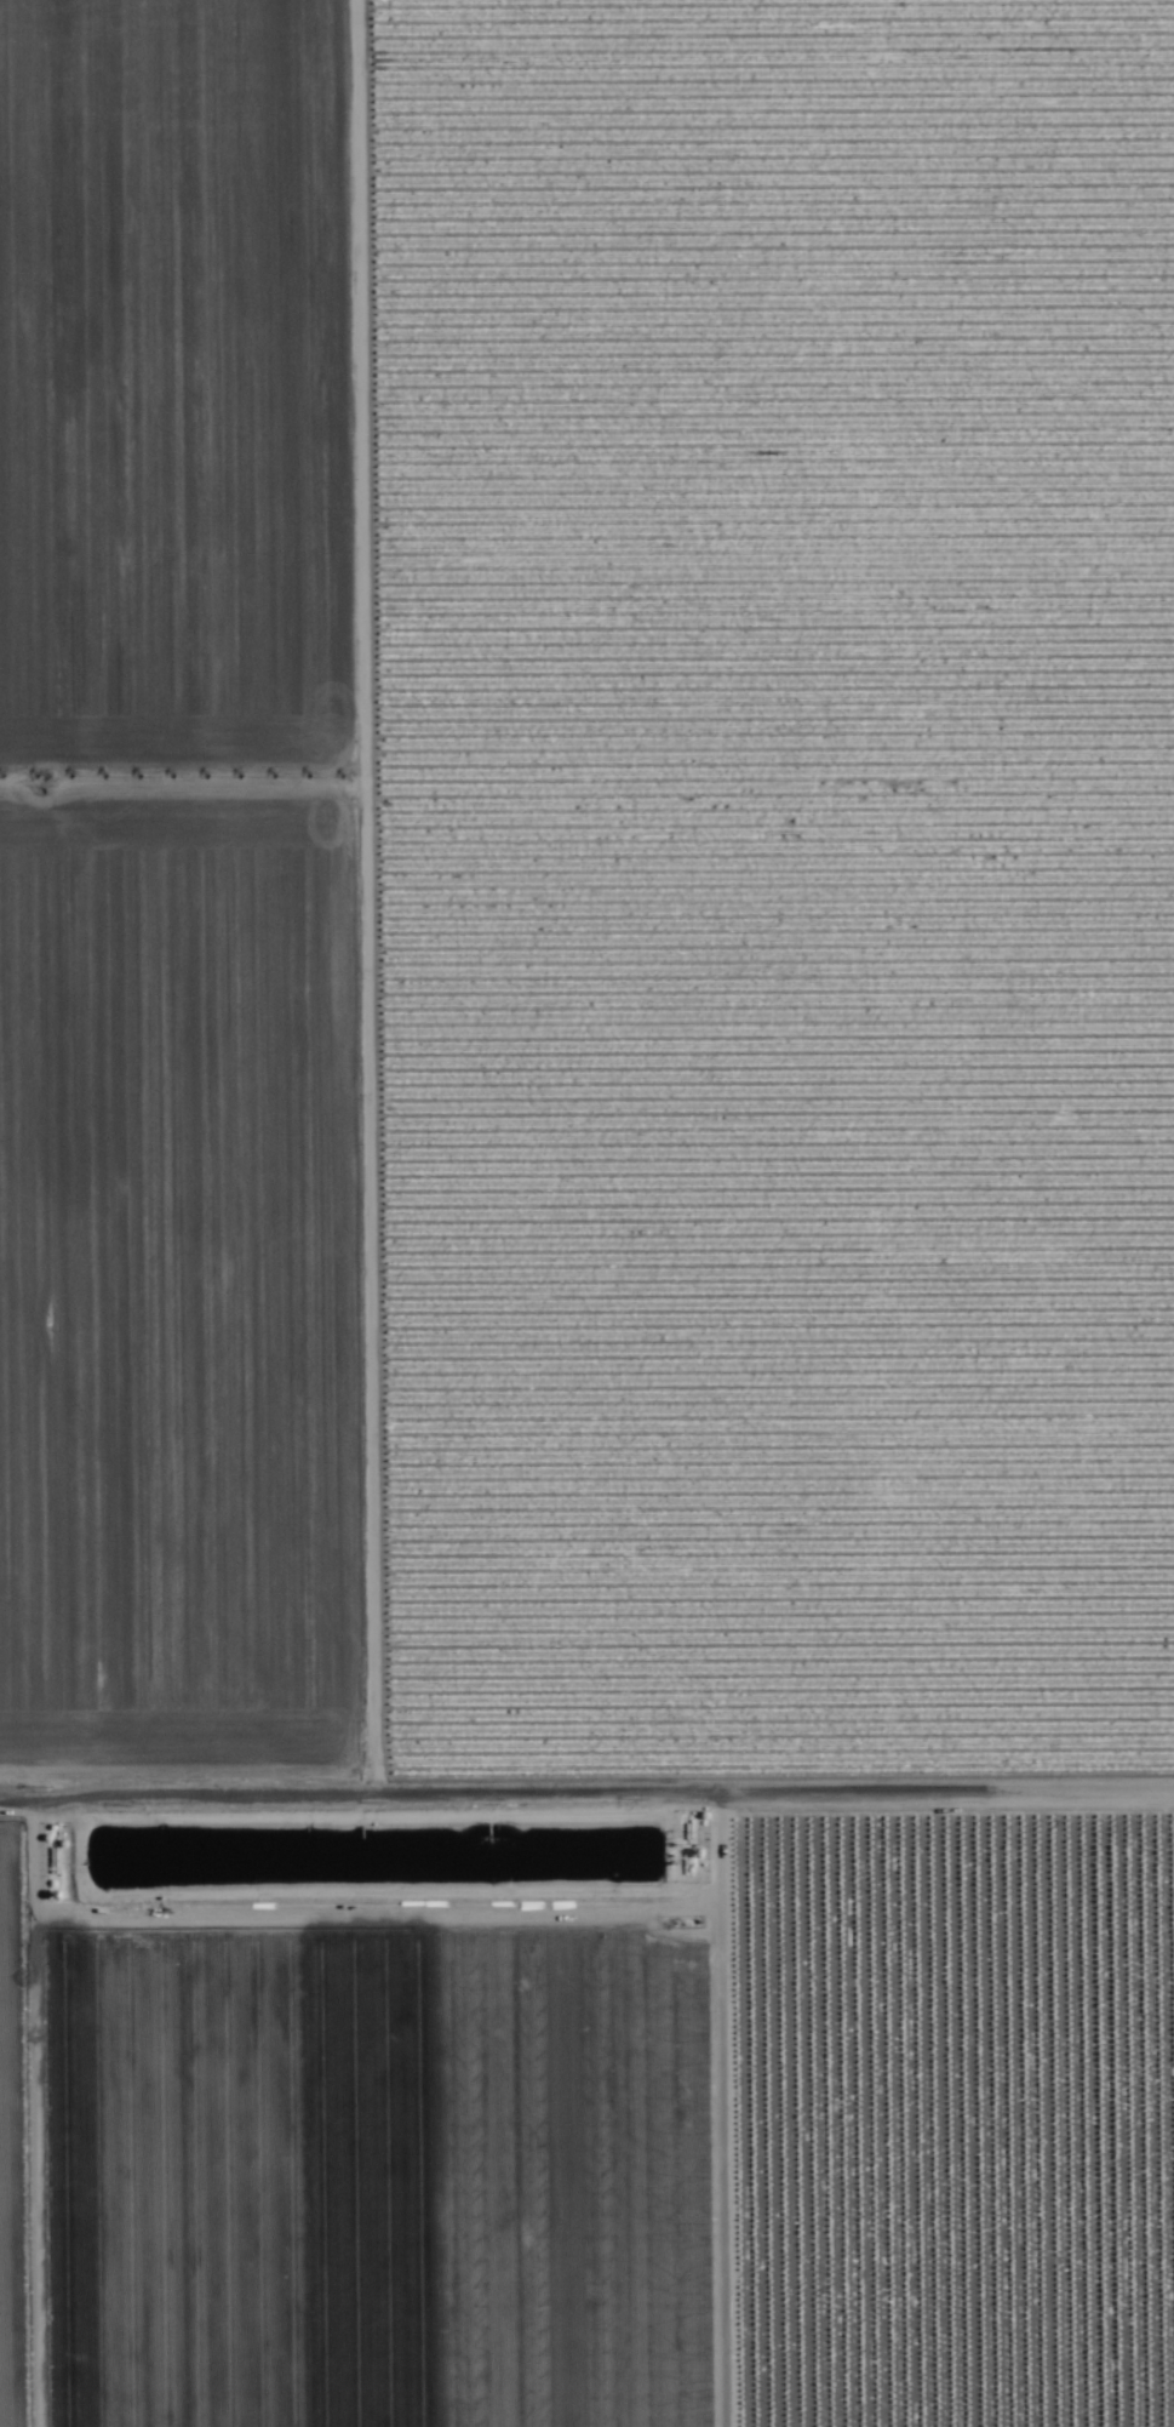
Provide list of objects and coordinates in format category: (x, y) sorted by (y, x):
crop: (586, 1213)
road: (586, 1769)
wastewater plant: (372, 1881)

